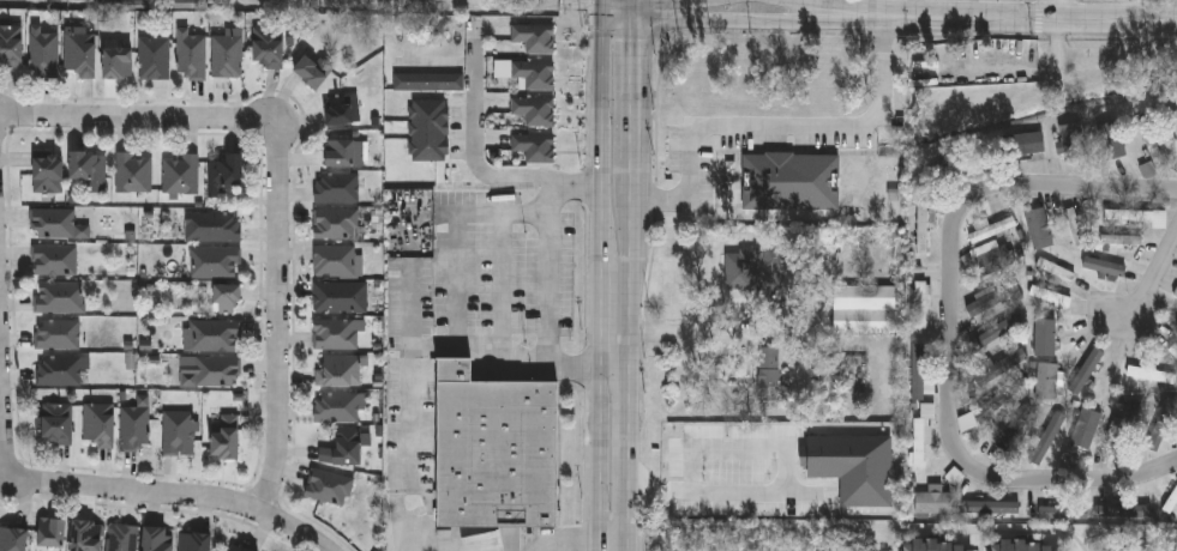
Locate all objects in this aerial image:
road: (289, 4)
road: (805, 5)
road: (498, 6)
road: (602, 10)
road: (1055, 11)
road: (996, 18)
traffic signals: (636, 19)
road: (709, 19)
traffic signals: (602, 20)
building: (534, 36)
building: (11, 44)
building: (269, 44)
building: (80, 50)
building: (43, 52)
building: (191, 53)
building: (227, 53)
building: (154, 57)
building: (118, 61)
building: (312, 71)
building: (534, 73)
building: (419, 81)
road: (602, 83)
building: (534, 109)
building: (341, 110)
building: (1173, 122)
road: (138, 123)
road: (780, 125)
building: (427, 128)
road: (0, 131)
building: (1071, 140)
building: (1110, 140)
road: (474, 143)
building: (1026, 143)
building: (1148, 144)
building: (534, 146)
building: (343, 152)
building: (969, 165)
building: (89, 168)
building: (228, 169)
building: (48, 171)
building: (133, 172)
building: (181, 174)
building: (336, 187)
road: (1059, 188)
road: (600, 204)
building: (1133, 216)
building: (54, 223)
building: (336, 223)
building: (218, 226)
building: (921, 226)
building: (1074, 226)
building: (1037, 228)
building: (990, 229)
building: (1117, 244)
building: (54, 259)
building: (335, 260)
building: (215, 261)
building: (1103, 265)
building: (739, 270)
building: (1053, 270)
road: (545, 272)
road: (633, 274)
road: (1152, 277)
building: (1173, 285)
building: (985, 293)
building: (1049, 295)
building: (340, 296)
building: (920, 296)
building: (60, 297)
building: (228, 298)
building: (1051, 307)
building: (865, 309)
road: (600, 314)
road: (275, 319)
building: (1173, 319)
building: (993, 329)
building: (1062, 329)
building: (58, 333)
building: (335, 333)
road: (693, 333)
building: (1065, 333)
building: (212, 334)
building: (1035, 334)
road: (442, 345)
building: (1173, 350)
road: (617, 364)
building: (998, 367)
building: (60, 370)
building: (210, 370)
building: (338, 370)
building: (769, 373)
building: (1146, 373)
road: (950, 375)
building: (919, 376)
building: (1045, 380)
building: (1086, 380)
building: (992, 402)
building: (337, 407)
road: (2, 423)
building: (58, 423)
building: (100, 423)
building: (1157, 423)
building: (134, 426)
building: (1083, 426)
building: (1117, 428)
building: (179, 432)
building: (920, 434)
building: (1005, 434)
building: (1045, 434)
building: (227, 436)
building: (343, 448)
building: (496, 448)
road: (599, 456)
building: (1099, 459)
building: (1067, 460)
road: (789, 483)
road: (1101, 483)
building: (330, 486)
building: (931, 499)
building: (984, 501)
building: (1171, 501)
road: (172, 503)
building: (1119, 504)
building: (1059, 513)
building: (52, 532)
building: (86, 534)
building: (121, 537)
building: (13, 538)
building: (157, 539)
road: (589, 539)
building: (194, 541)
building: (937, 545)
building: (1026, 545)
building: (239, 547)

